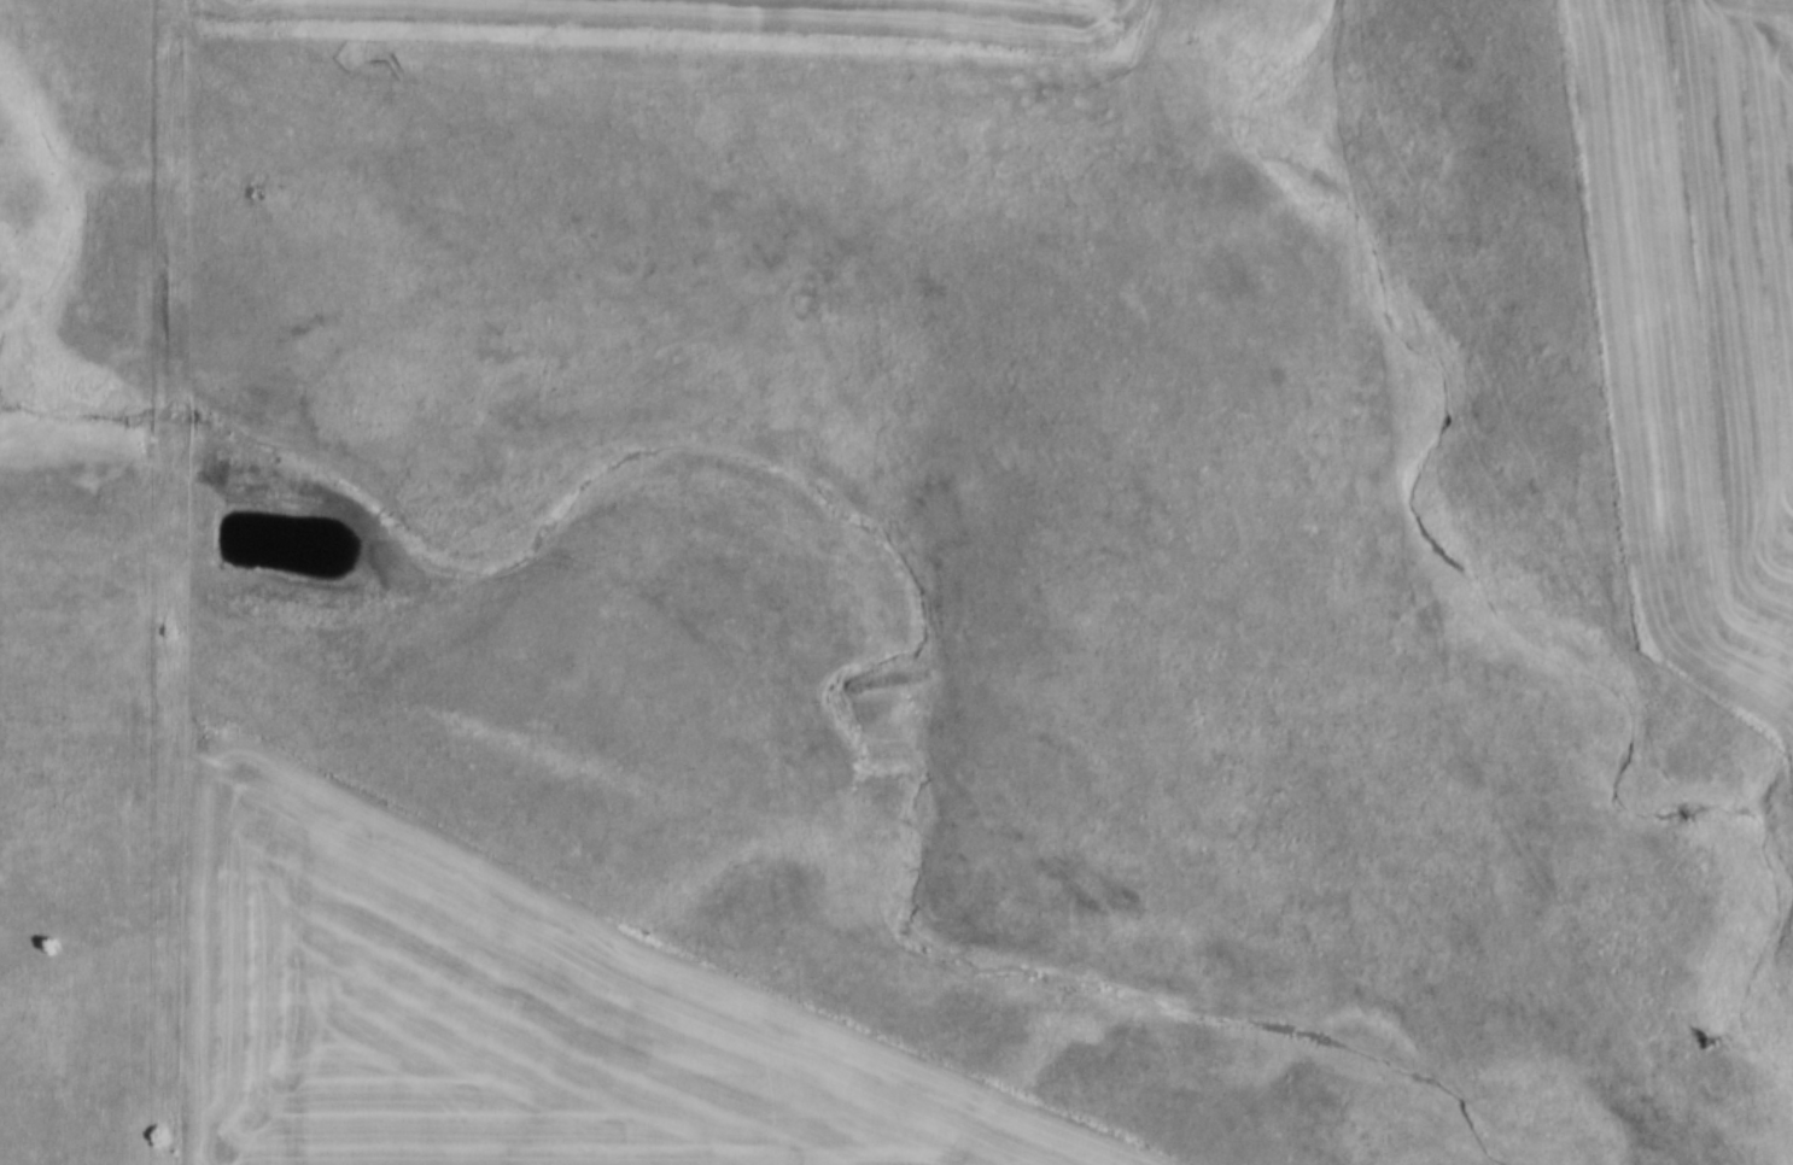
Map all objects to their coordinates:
crop: (753, 17)
crop: (1700, 327)
crop: (508, 1014)

